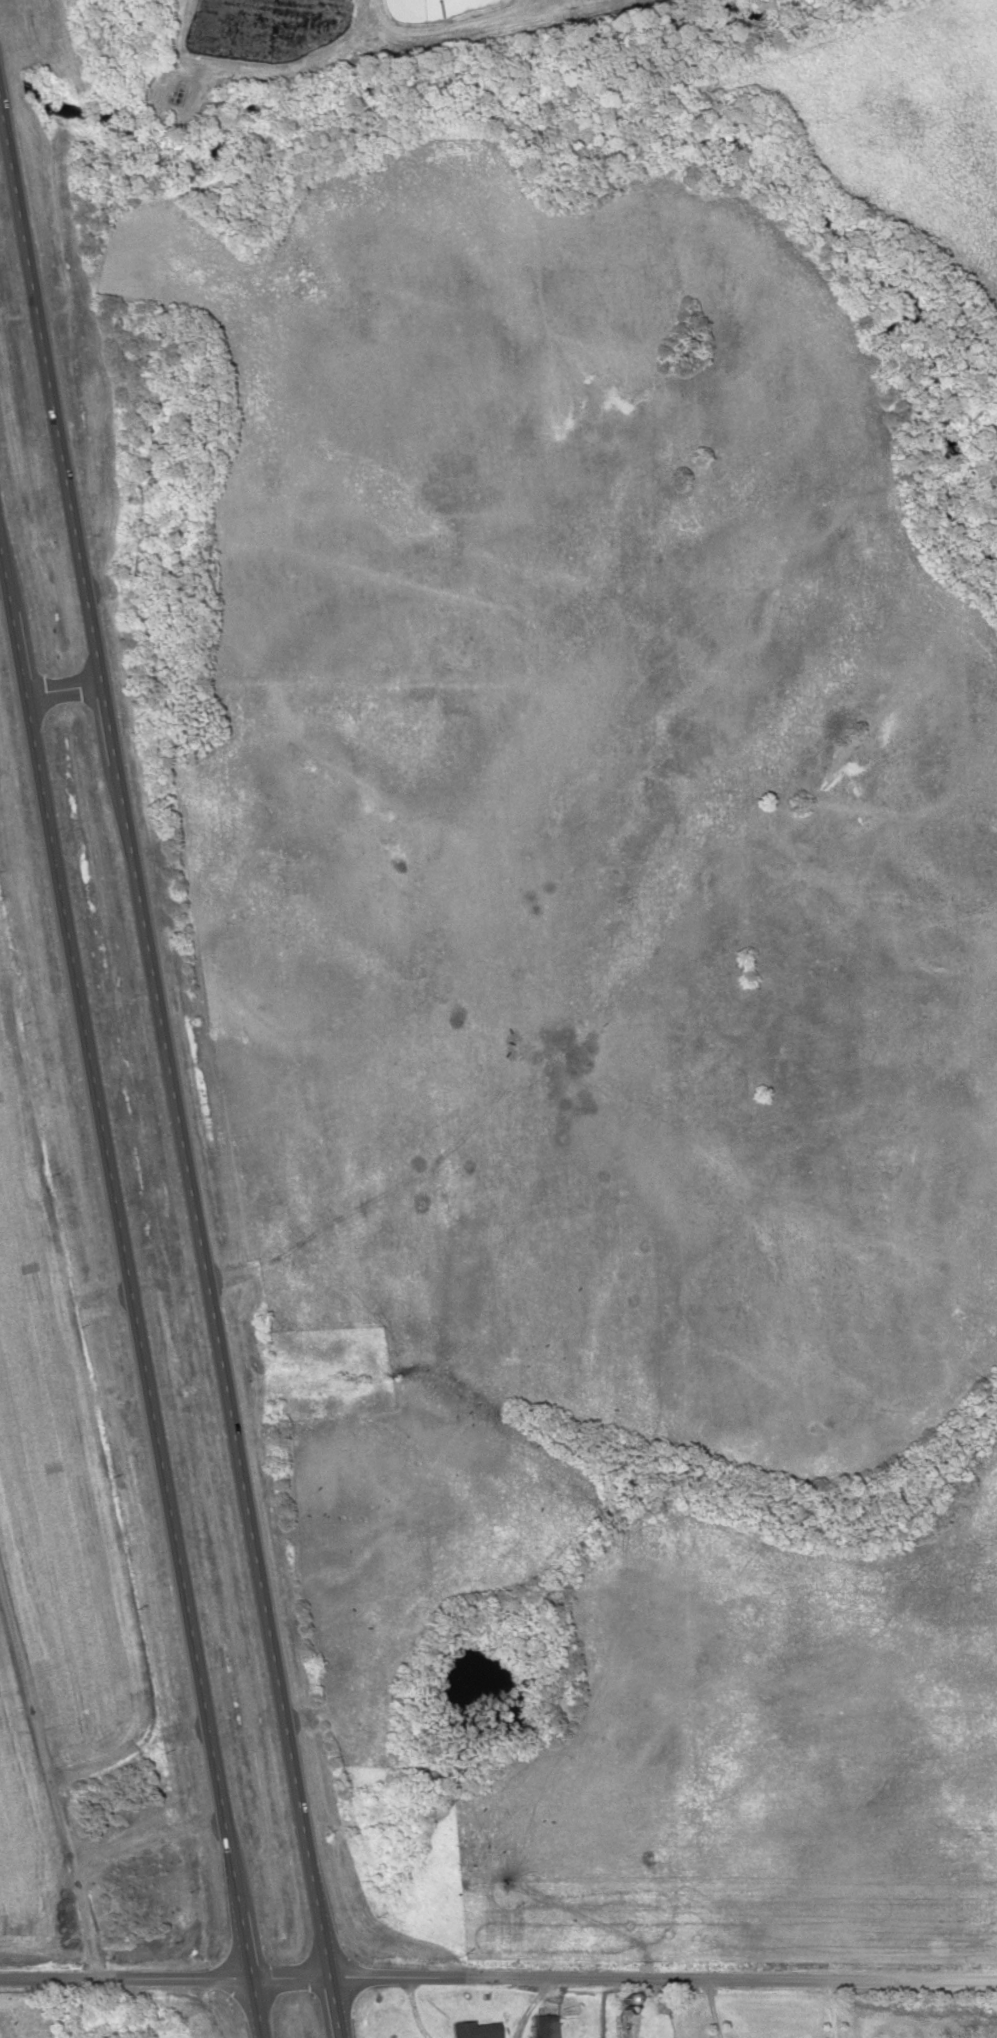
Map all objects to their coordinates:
building: (178, 93)
crop: (907, 124)
road: (51, 394)
road: (5, 586)
road: (17, 656)
road: (63, 690)
road: (109, 725)
crop: (599, 1028)
road: (132, 1304)
road: (223, 1370)
road: (44, 1770)
road: (245, 1943)
road: (164, 1972)
road: (663, 1973)
road: (256, 2006)
road: (334, 2006)
building: (146, 2024)
building: (545, 2025)
building: (476, 2029)
building: (96, 2033)

